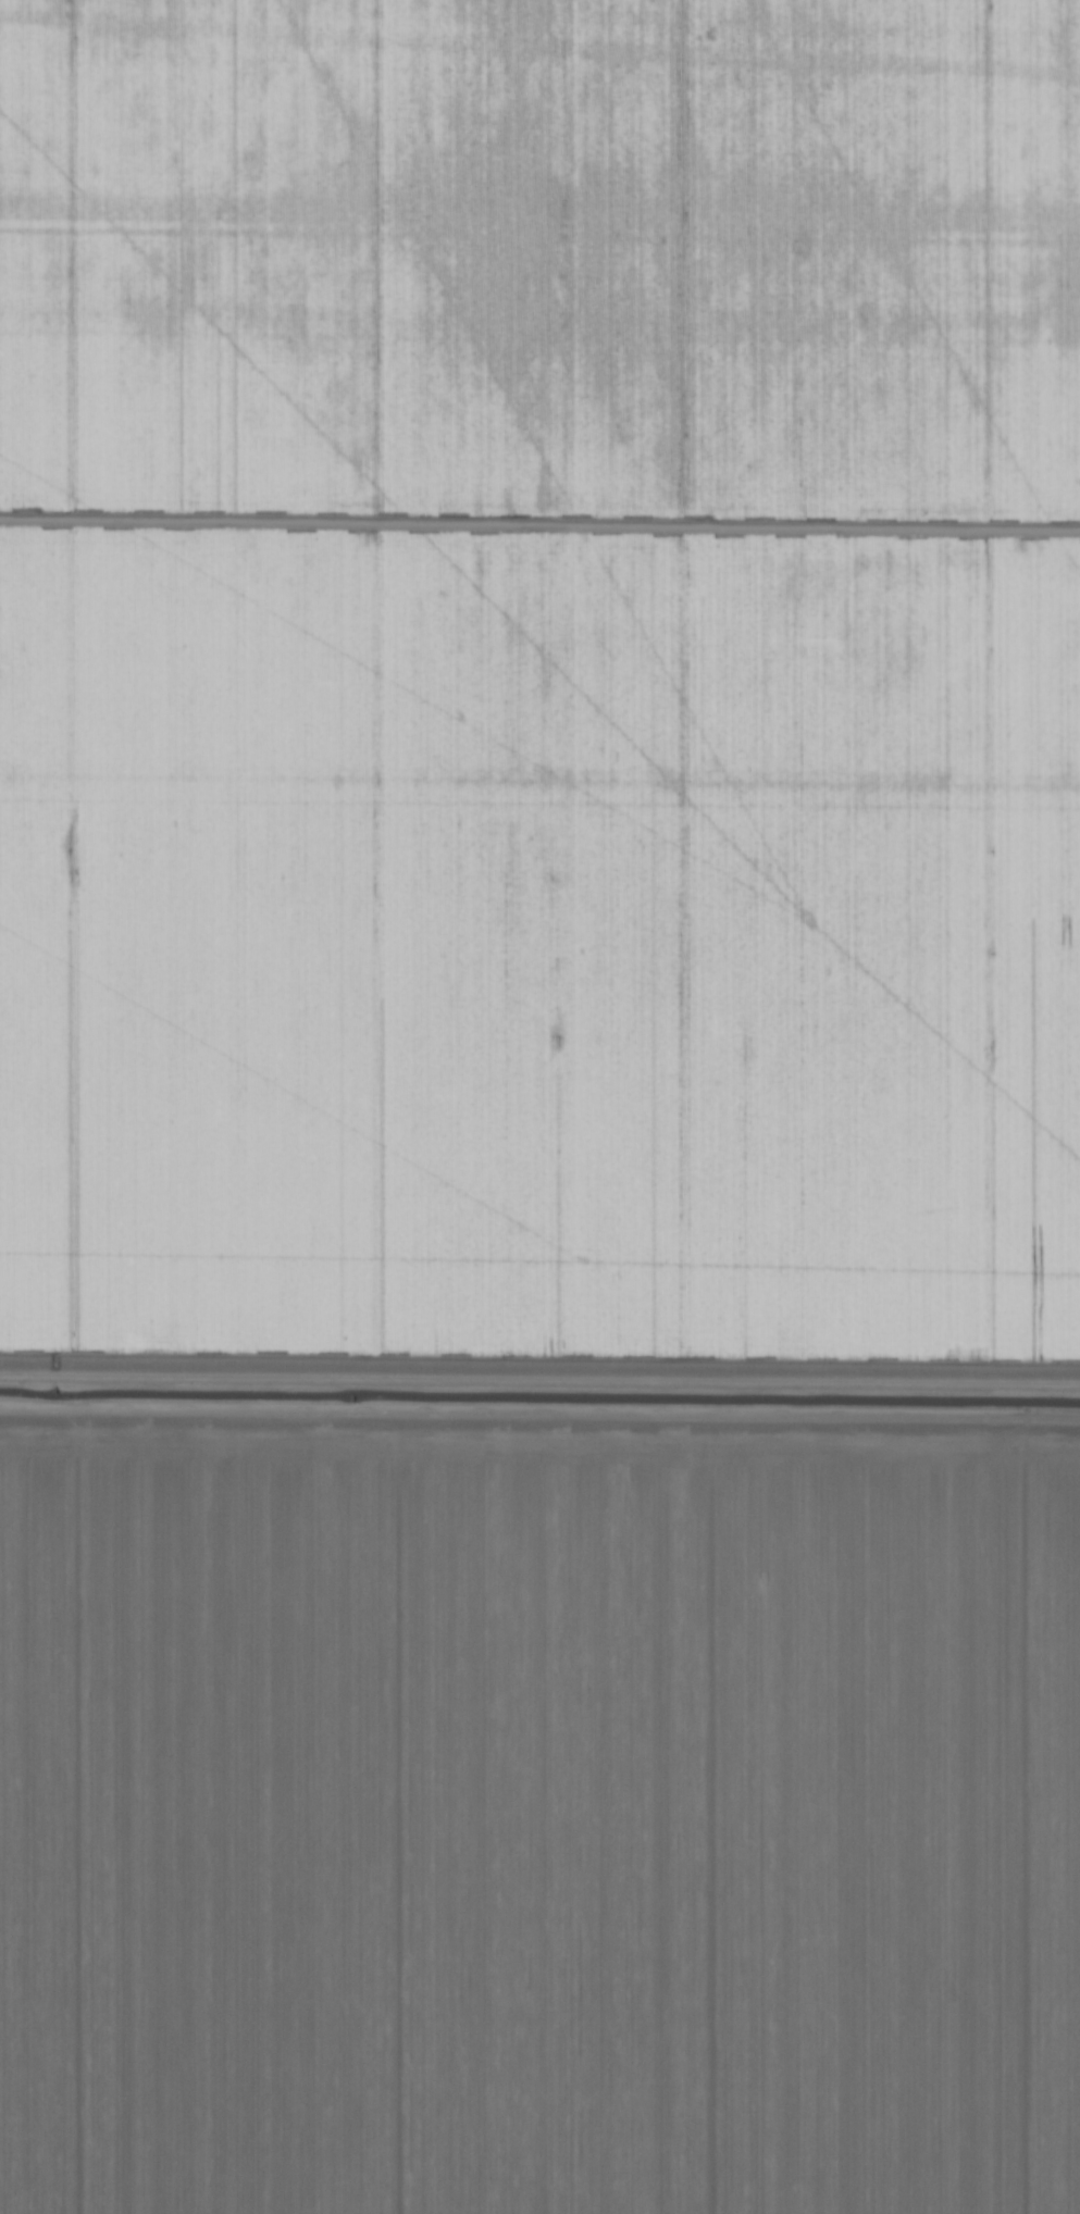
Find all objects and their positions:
crop: (539, 1107)
road: (539, 1382)

